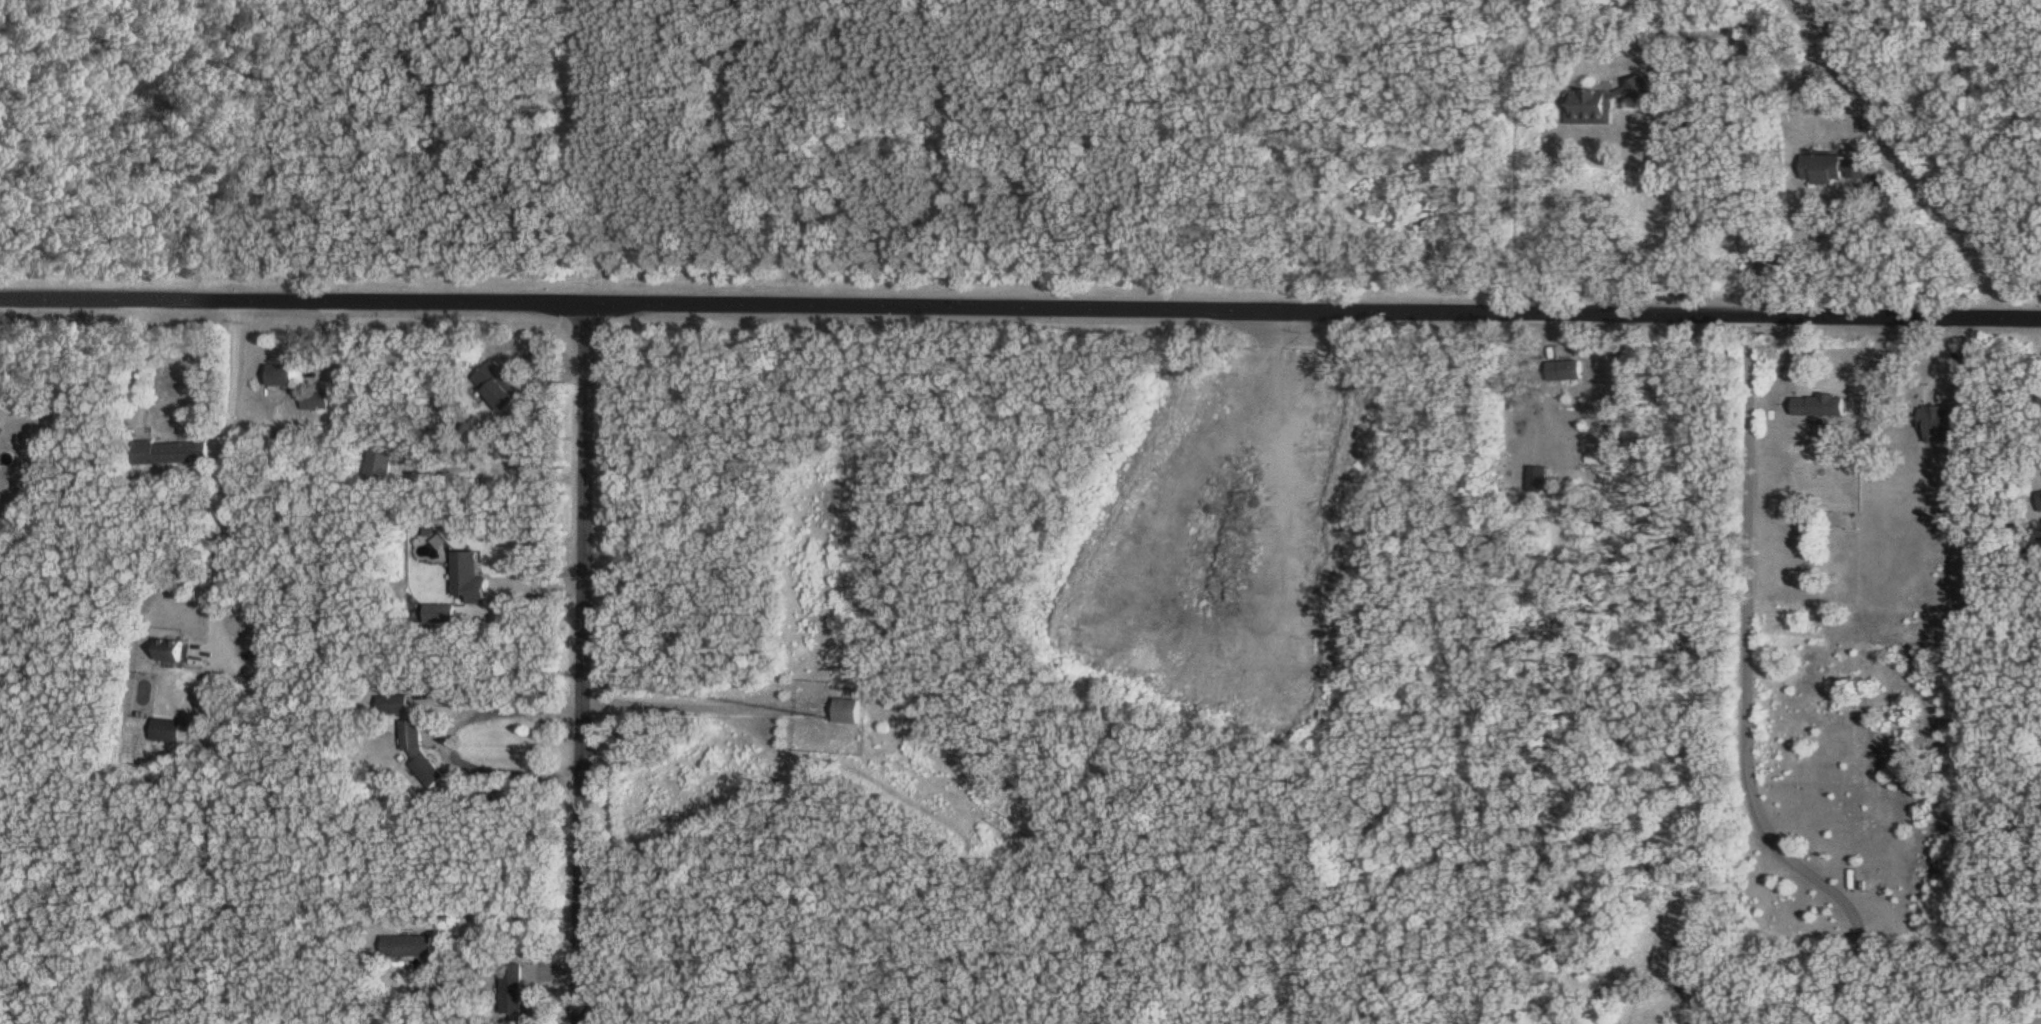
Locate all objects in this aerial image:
building: (1603, 102)
building: (1834, 169)
road: (1688, 216)
road: (1814, 247)
road: (1020, 304)
building: (1566, 371)
road: (1956, 371)
building: (287, 374)
building: (499, 387)
building: (1864, 395)
building: (319, 398)
building: (1, 423)
building: (174, 451)
road: (228, 462)
building: (1539, 479)
building: (2040, 492)
building: (176, 650)
road: (585, 661)
road: (1748, 692)
road: (678, 701)
building: (399, 704)
building: (848, 710)
building: (171, 729)
road: (451, 739)
building: (410, 945)
building: (514, 987)
road: (436, 999)

